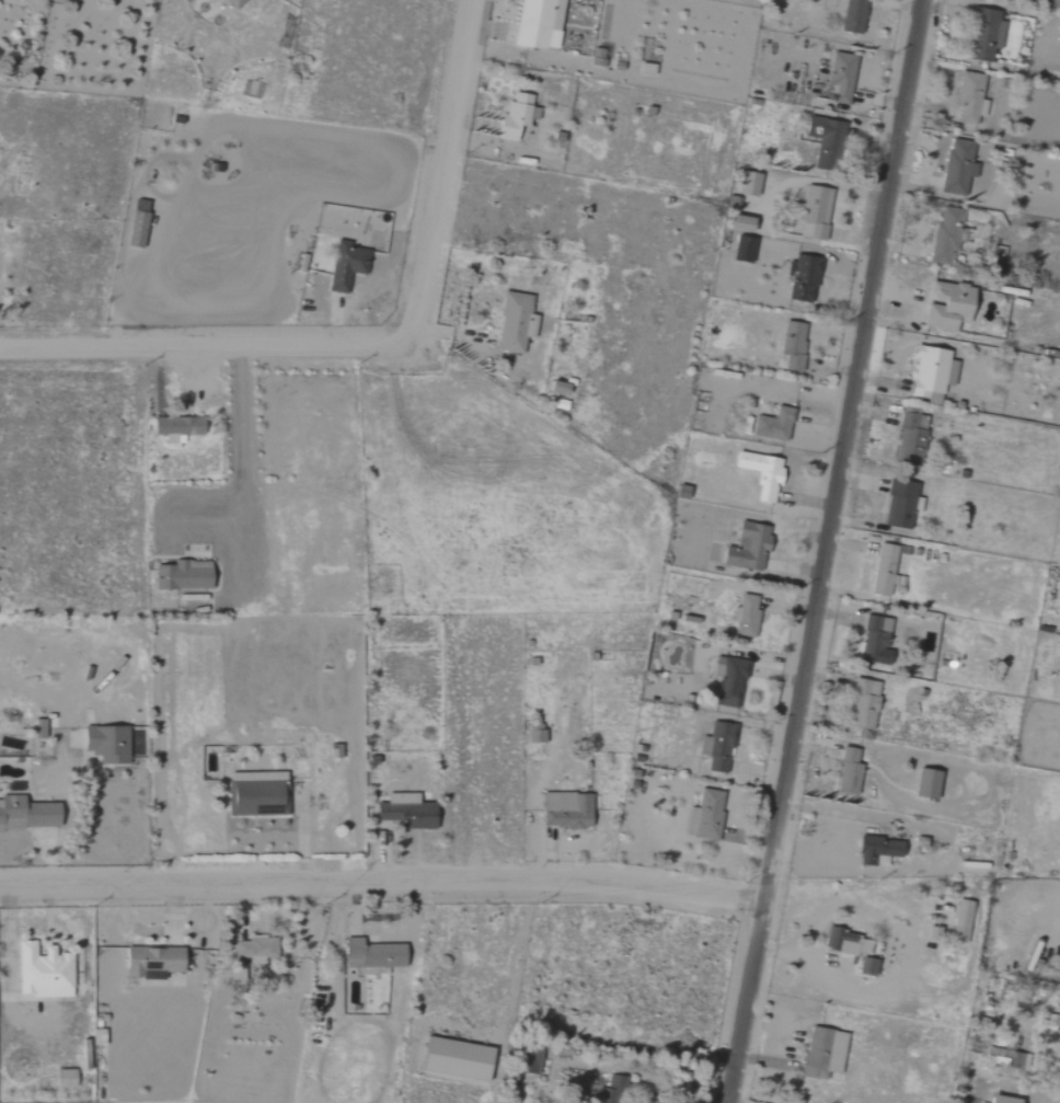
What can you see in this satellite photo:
building: (237, 3)
building: (851, 16)
building: (535, 24)
building: (982, 34)
building: (839, 76)
building: (967, 97)
building: (512, 115)
building: (822, 138)
building: (955, 166)
road: (457, 177)
building: (750, 184)
building: (813, 212)
building: (735, 223)
building: (138, 229)
building: (944, 234)
building: (741, 249)
building: (344, 266)
building: (800, 278)
building: (944, 306)
building: (512, 323)
building: (790, 344)
road: (205, 349)
building: (929, 374)
building: (770, 425)
building: (174, 427)
building: (908, 438)
building: (759, 474)
road: (242, 475)
building: (898, 504)
road: (876, 506)
building: (745, 548)
road: (826, 551)
road: (776, 552)
building: (880, 570)
building: (180, 575)
building: (744, 617)
building: (871, 639)
building: (727, 678)
building: (861, 704)
building: (39, 727)
building: (532, 736)
building: (110, 744)
building: (717, 747)
building: (332, 751)
building: (846, 772)
building: (923, 783)
building: (255, 794)
building: (403, 811)
building: (564, 811)
building: (28, 814)
building: (703, 816)
building: (875, 850)
road: (383, 877)
building: (957, 922)
building: (845, 942)
building: (253, 950)
building: (368, 955)
building: (155, 962)
building: (864, 966)
building: (45, 972)
building: (1059, 974)
building: (819, 1054)
building: (452, 1059)
building: (529, 1064)
building: (68, 1079)
building: (612, 1088)
building: (995, 1100)

